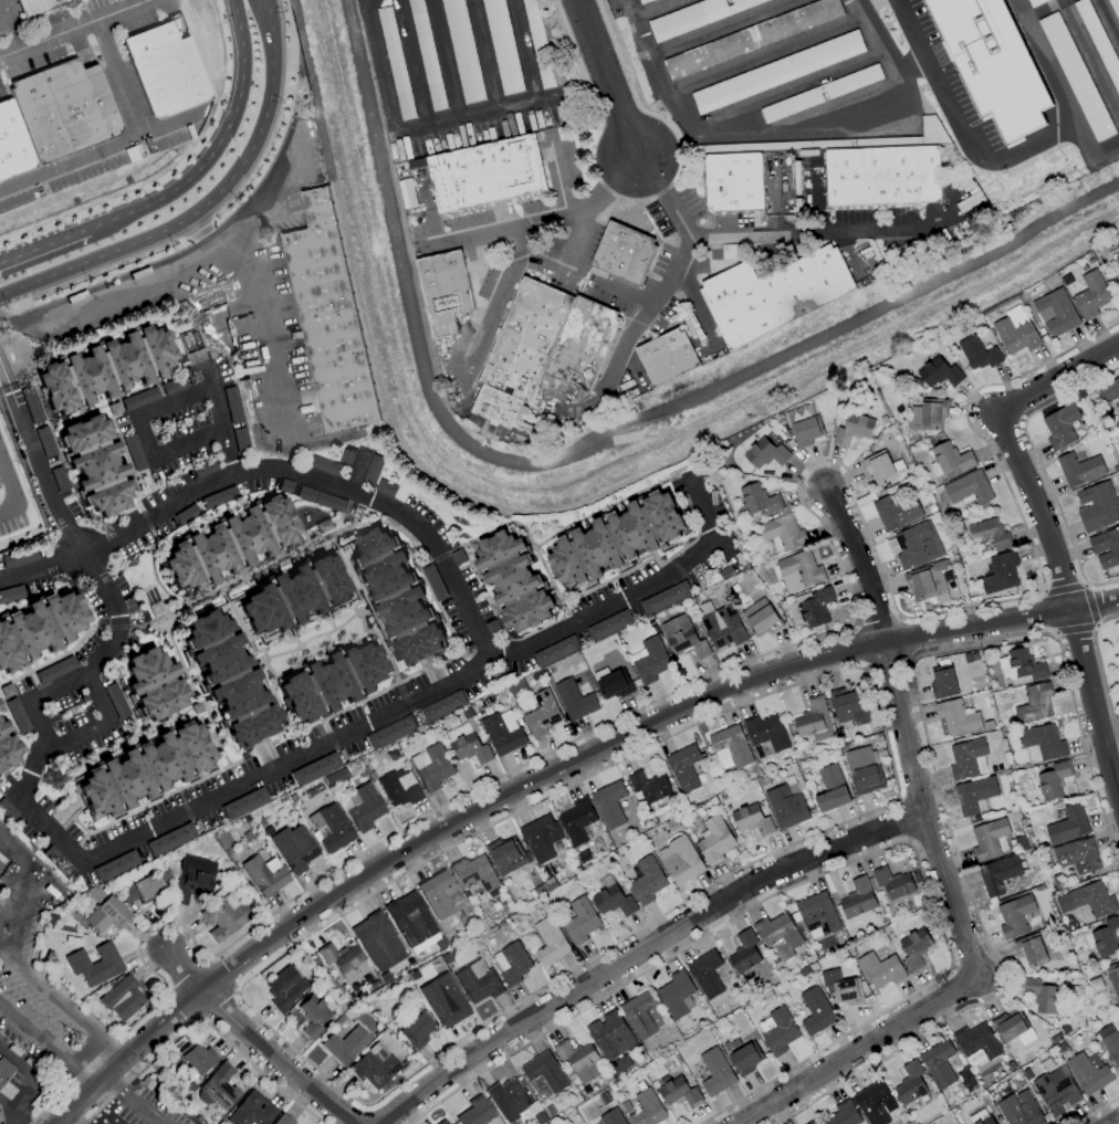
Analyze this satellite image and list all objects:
building: (638, 0)
building: (1032, 2)
building: (34, 6)
road: (652, 9)
building: (696, 15)
road: (718, 25)
road: (70, 29)
building: (388, 33)
building: (752, 38)
building: (500, 46)
building: (1102, 50)
building: (461, 51)
road: (762, 51)
building: (426, 54)
road: (1089, 59)
building: (991, 64)
road: (909, 67)
building: (165, 69)
building: (776, 72)
road: (240, 76)
building: (1075, 76)
road: (606, 77)
road: (269, 83)
road: (532, 84)
road: (784, 87)
road: (1058, 90)
road: (282, 123)
road: (958, 128)
road: (801, 136)
road: (127, 137)
building: (13, 144)
road: (668, 147)
road: (170, 169)
building: (887, 170)
building: (485, 172)
building: (732, 181)
road: (157, 198)
road: (544, 219)
power tower: (263, 228)
road: (200, 233)
road: (808, 233)
road: (574, 241)
road: (130, 243)
building: (1118, 243)
road: (44, 245)
building: (621, 254)
building: (1118, 259)
road: (671, 274)
road: (94, 280)
building: (1117, 286)
building: (442, 291)
building: (773, 294)
building: (1092, 295)
road: (495, 300)
road: (258, 311)
building: (1057, 312)
building: (327, 316)
building: (1016, 336)
building: (979, 354)
building: (537, 356)
building: (665, 357)
building: (104, 368)
building: (940, 372)
building: (547, 382)
building: (170, 386)
building: (1109, 391)
building: (138, 398)
road: (175, 405)
building: (232, 405)
building: (928, 416)
road: (221, 424)
building: (1062, 427)
building: (854, 429)
building: (1117, 430)
building: (807, 432)
road: (145, 439)
building: (240, 439)
building: (44, 441)
road: (189, 447)
road: (1010, 447)
building: (133, 452)
building: (766, 453)
building: (345, 455)
building: (951, 458)
road: (39, 463)
building: (94, 464)
building: (324, 465)
building: (879, 468)
road: (1039, 468)
building: (372, 469)
building: (1079, 469)
road: (282, 470)
building: (969, 489)
building: (219, 496)
road: (10, 497)
building: (320, 498)
building: (760, 500)
parking lot: (10, 506)
building: (1098, 507)
building: (897, 512)
building: (186, 514)
building: (324, 525)
building: (783, 533)
building: (990, 534)
building: (616, 538)
building: (229, 543)
building: (918, 545)
building: (1106, 547)
building: (19, 558)
road: (858, 563)
building: (799, 571)
building: (725, 572)
building: (1001, 572)
building: (927, 580)
building: (513, 581)
building: (433, 582)
road: (1064, 588)
building: (11, 593)
building: (293, 593)
building: (396, 596)
building: (666, 598)
road: (1091, 603)
road: (1095, 607)
building: (817, 608)
road: (117, 617)
building: (761, 619)
road: (877, 619)
building: (609, 626)
building: (39, 628)
building: (724, 628)
road: (1074, 631)
building: (683, 638)
building: (556, 652)
road: (771, 652)
building: (651, 661)
road: (888, 663)
building: (1026, 664)
building: (54, 670)
road: (1100, 674)
building: (228, 677)
building: (331, 681)
building: (943, 683)
building: (154, 684)
building: (615, 685)
building: (516, 689)
road: (59, 691)
road: (429, 693)
road: (96, 698)
building: (575, 700)
building: (115, 701)
building: (1035, 704)
building: (443, 707)
building: (848, 707)
road: (1091, 711)
building: (542, 714)
building: (17, 715)
building: (956, 718)
building: (814, 721)
road: (41, 724)
building: (989, 726)
road: (1106, 728)
road: (77, 732)
building: (391, 732)
building: (766, 733)
building: (502, 735)
building: (1044, 742)
building: (7, 746)
building: (731, 746)
building: (470, 749)
building: (966, 758)
building: (684, 767)
road: (891, 767)
building: (435, 768)
building: (143, 769)
building: (316, 769)
building: (864, 771)
power tower: (52, 773)
road: (933, 773)
building: (764, 780)
building: (1054, 780)
building: (649, 786)
building: (400, 788)
road: (525, 789)
building: (832, 789)
building: (974, 794)
building: (244, 803)
building: (609, 805)
building: (787, 806)
building: (364, 807)
road: (31, 809)
building: (7, 810)
road: (922, 811)
road: (902, 819)
building: (752, 820)
building: (261, 821)
building: (577, 821)
building: (1068, 824)
building: (332, 828)
building: (540, 838)
building: (989, 839)
building: (171, 840)
building: (714, 840)
building: (295, 848)
building: (506, 855)
building: (1077, 855)
building: (583, 857)
building: (681, 860)
road: (838, 865)
building: (116, 866)
building: (475, 873)
building: (264, 874)
building: (998, 875)
building: (917, 878)
road: (21, 881)
building: (647, 881)
building: (550, 883)
building: (893, 883)
building: (146, 886)
building: (191, 886)
building: (538, 890)
building: (438, 893)
building: (613, 899)
building: (1088, 900)
building: (857, 904)
building: (817, 914)
building: (107, 915)
building: (1015, 916)
building: (223, 918)
building: (411, 918)
building: (581, 922)
building: (780, 935)
building: (377, 938)
building: (1107, 939)
building: (550, 942)
road: (640, 949)
building: (914, 949)
building: (1031, 950)
building: (744, 953)
building: (317, 962)
building: (344, 962)
building: (96, 964)
building: (512, 964)
building: (881, 969)
building: (804, 971)
road: (188, 974)
building: (707, 974)
building: (386, 977)
building: (1112, 977)
building: (479, 981)
building: (376, 985)
building: (1096, 985)
parking lot: (41, 986)
building: (285, 988)
building: (843, 988)
building: (677, 995)
building: (767, 996)
building: (1040, 996)
building: (123, 998)
road: (63, 1000)
building: (445, 1000)
road: (220, 1006)
building: (1118, 1010)
building: (816, 1011)
building: (315, 1013)
building: (642, 1015)
road: (202, 1021)
building: (417, 1028)
building: (1013, 1028)
building: (780, 1032)
building: (610, 1036)
road: (35, 1037)
road: (259, 1038)
building: (1110, 1042)
building: (345, 1044)
building: (977, 1044)
building: (728, 1047)
building: (1060, 1048)
road: (85, 1050)
road: (857, 1050)
building: (195, 1058)
building: (745, 1059)
building: (579, 1060)
building: (939, 1063)
building: (375, 1065)
building: (1012, 1067)
building: (4, 1070)
building: (545, 1072)
building: (715, 1072)
building: (1089, 1072)
road: (83, 1076)
building: (607, 1078)
road: (38, 1080)
building: (148, 1082)
gas station: (22, 1084)
building: (910, 1084)
building: (219, 1088)
building: (1056, 1091)
building: (680, 1093)
building: (509, 1099)
building: (604, 1099)
road: (134, 1101)
building: (872, 1102)
building: (626, 1107)
building: (647, 1107)
parking lot: (147, 1109)
building: (550, 1110)
building: (1019, 1110)
road: (1097, 1110)
building: (252, 1111)
building: (477, 1112)
road: (7, 1114)
building: (844, 1114)
building: (981, 1116)
building: (611, 1117)
building: (199, 1118)
building: (540, 1118)
building: (283, 1120)
road: (69, 1121)
road: (1113, 1121)
building: (443, 1122)
parking lot: (105, 1123)
building: (222, 1123)
building: (812, 1123)

